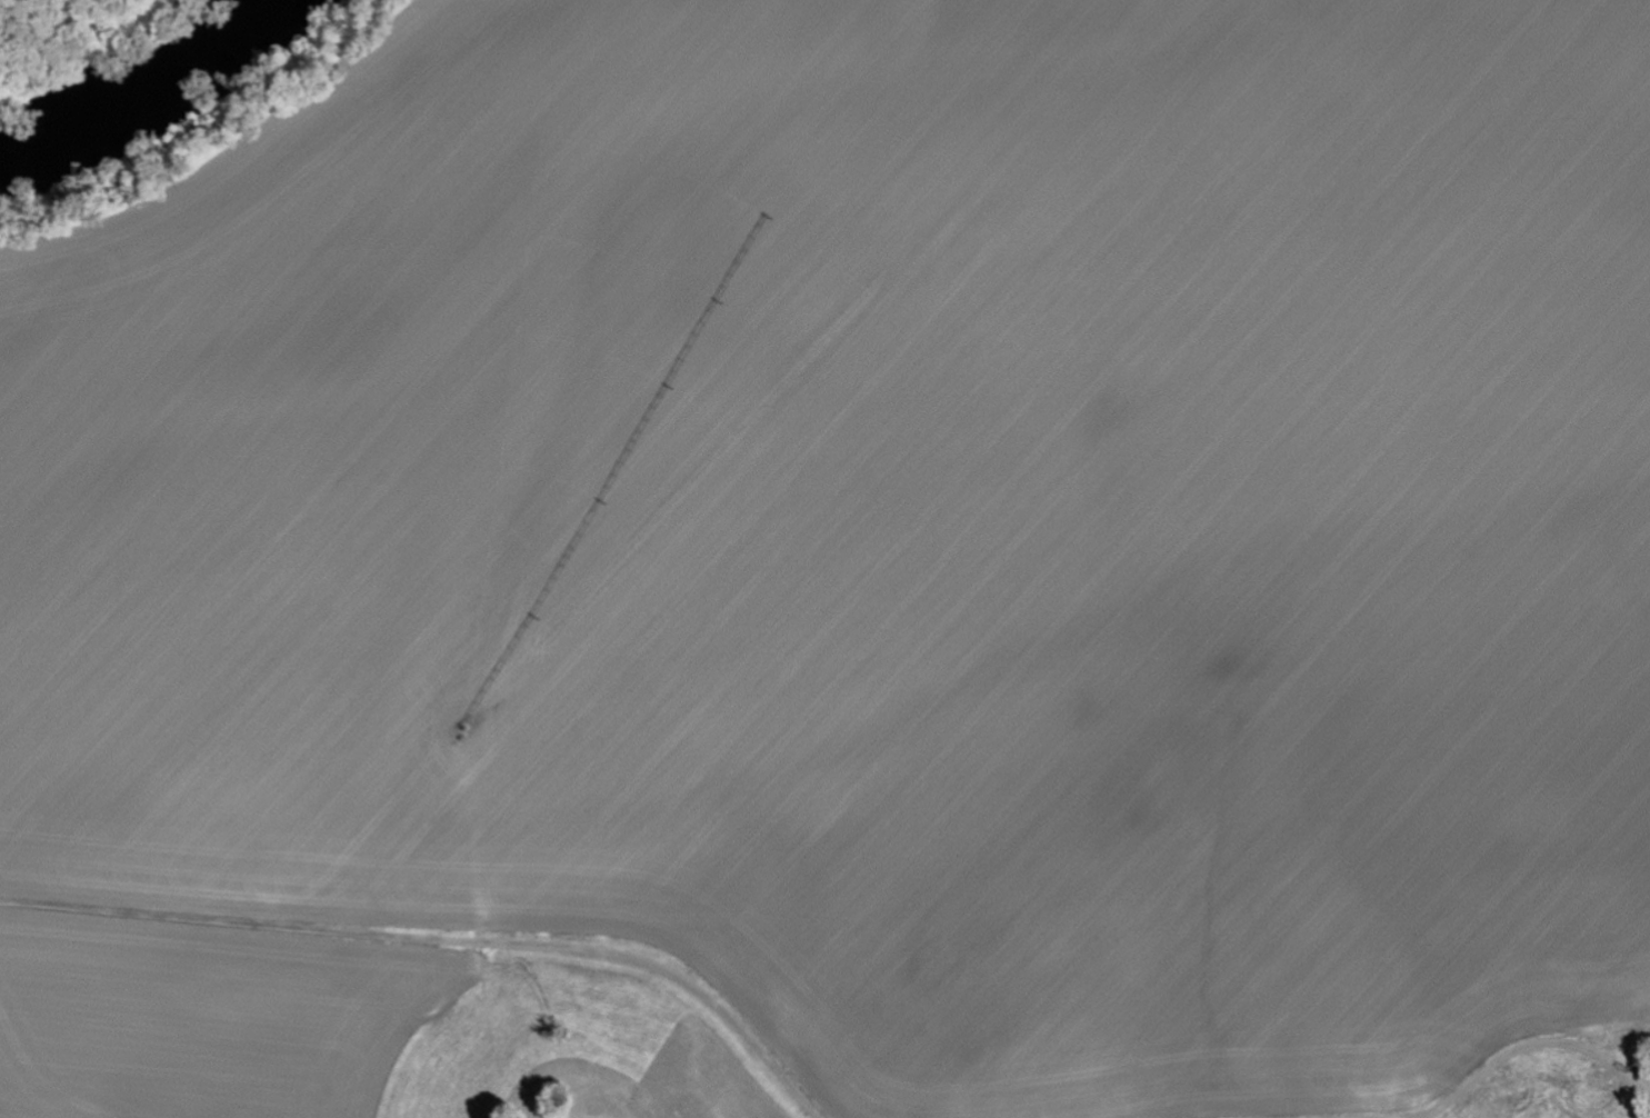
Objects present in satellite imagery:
road: (442, 935)
road: (1532, 1042)

